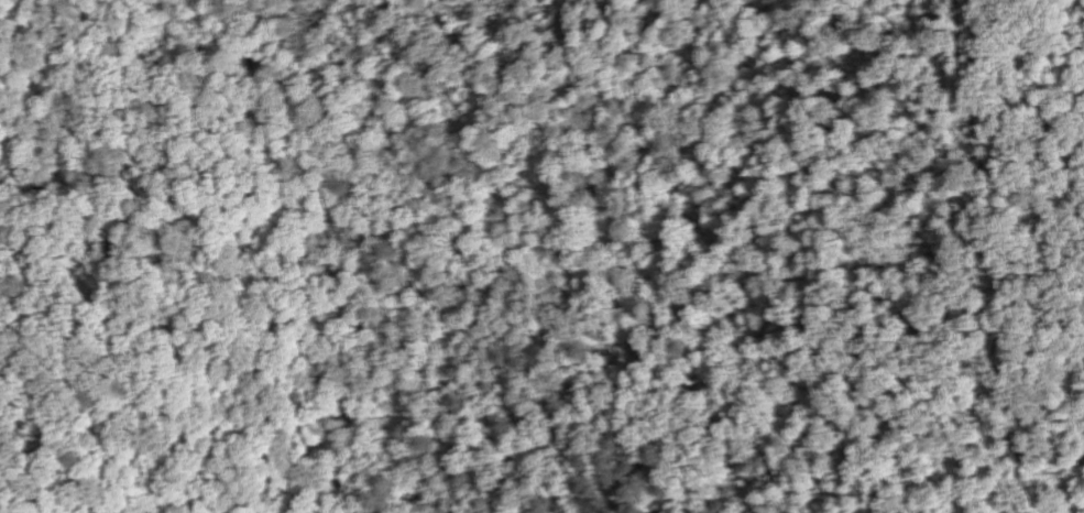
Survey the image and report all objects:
road: (955, 252)

